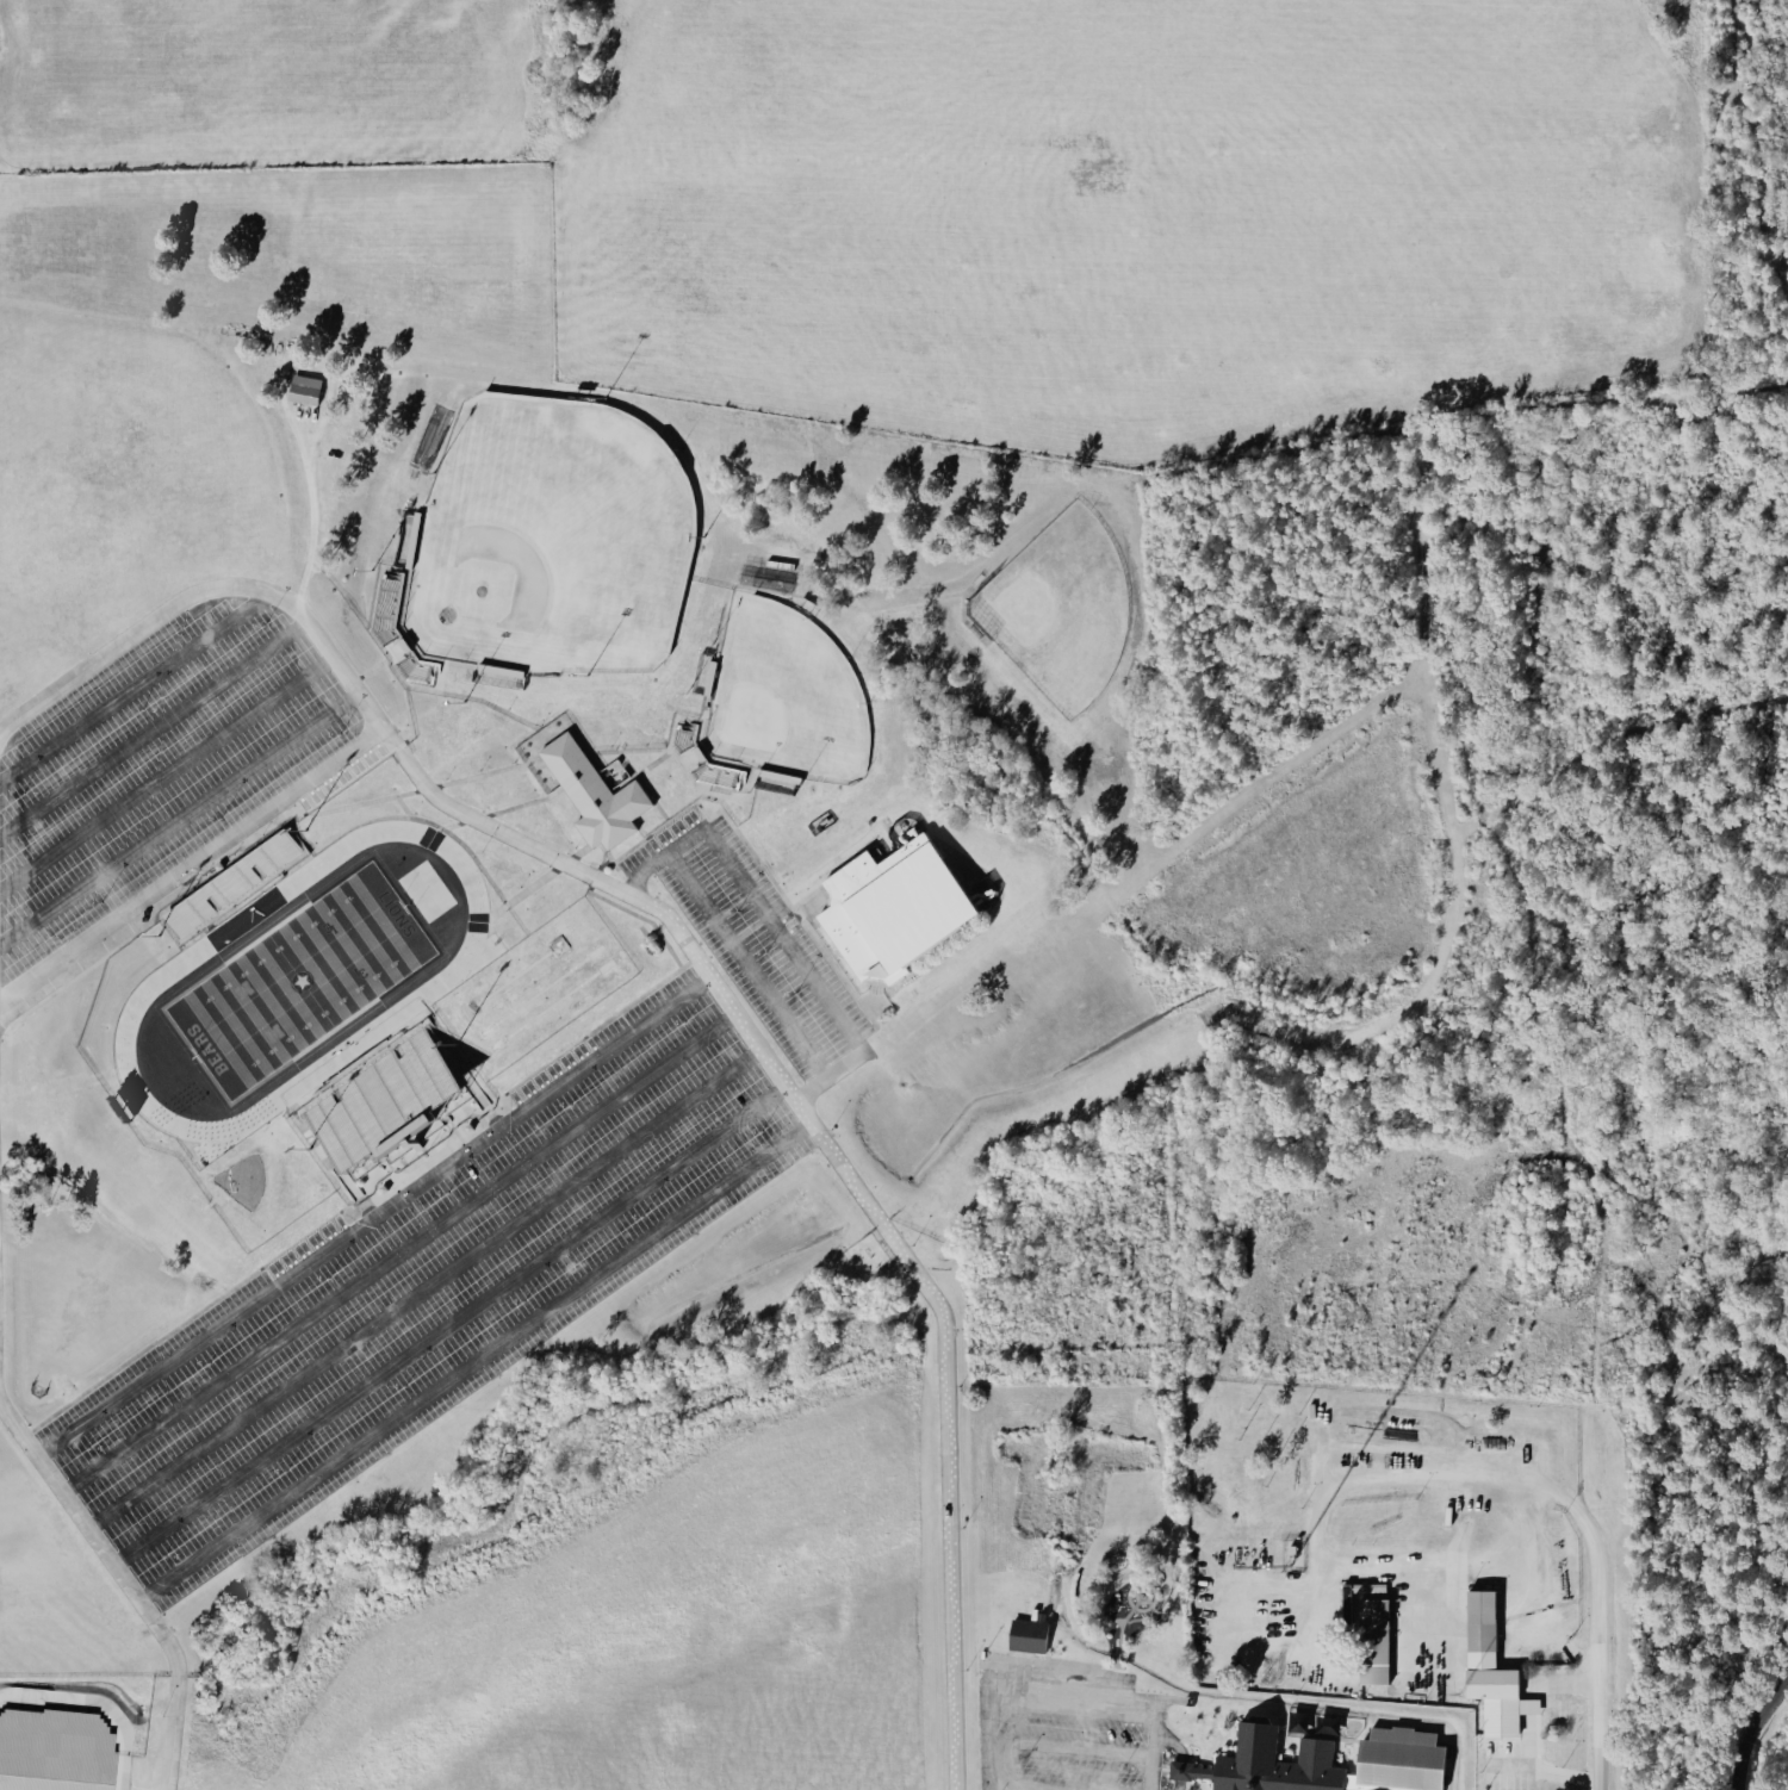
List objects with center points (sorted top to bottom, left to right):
building: (302, 389)
park: (548, 541)
building: (385, 610)
park: (1056, 614)
road: (365, 673)
building: (497, 675)
road: (134, 688)
park: (783, 701)
road: (403, 706)
road: (527, 723)
road: (153, 728)
road: (617, 750)
parking lot: (154, 763)
road: (164, 773)
building: (777, 779)
road: (641, 785)
building: (592, 794)
road: (530, 801)
road: (353, 804)
road: (178, 818)
road: (457, 825)
road: (646, 837)
road: (571, 854)
road: (191, 863)
road: (477, 865)
building: (231, 885)
building: (892, 908)
road: (776, 932)
parking lot: (751, 938)
road: (699, 964)
road: (746, 965)
park: (298, 981)
track: (426, 992)
stadium: (328, 1013)
road: (583, 1036)
building: (384, 1102)
road: (426, 1163)
road: (372, 1216)
road: (397, 1253)
road: (422, 1289)
parking lot: (423, 1291)
road: (193, 1313)
road: (448, 1325)
road: (473, 1361)
road: (1498, 1560)
road: (128, 1584)
building: (1372, 1641)
building: (1489, 1670)
road: (1067, 1684)
road: (1750, 1729)
road: (1606, 1730)
building: (57, 1751)
building: (1321, 1763)
road: (1547, 1770)

